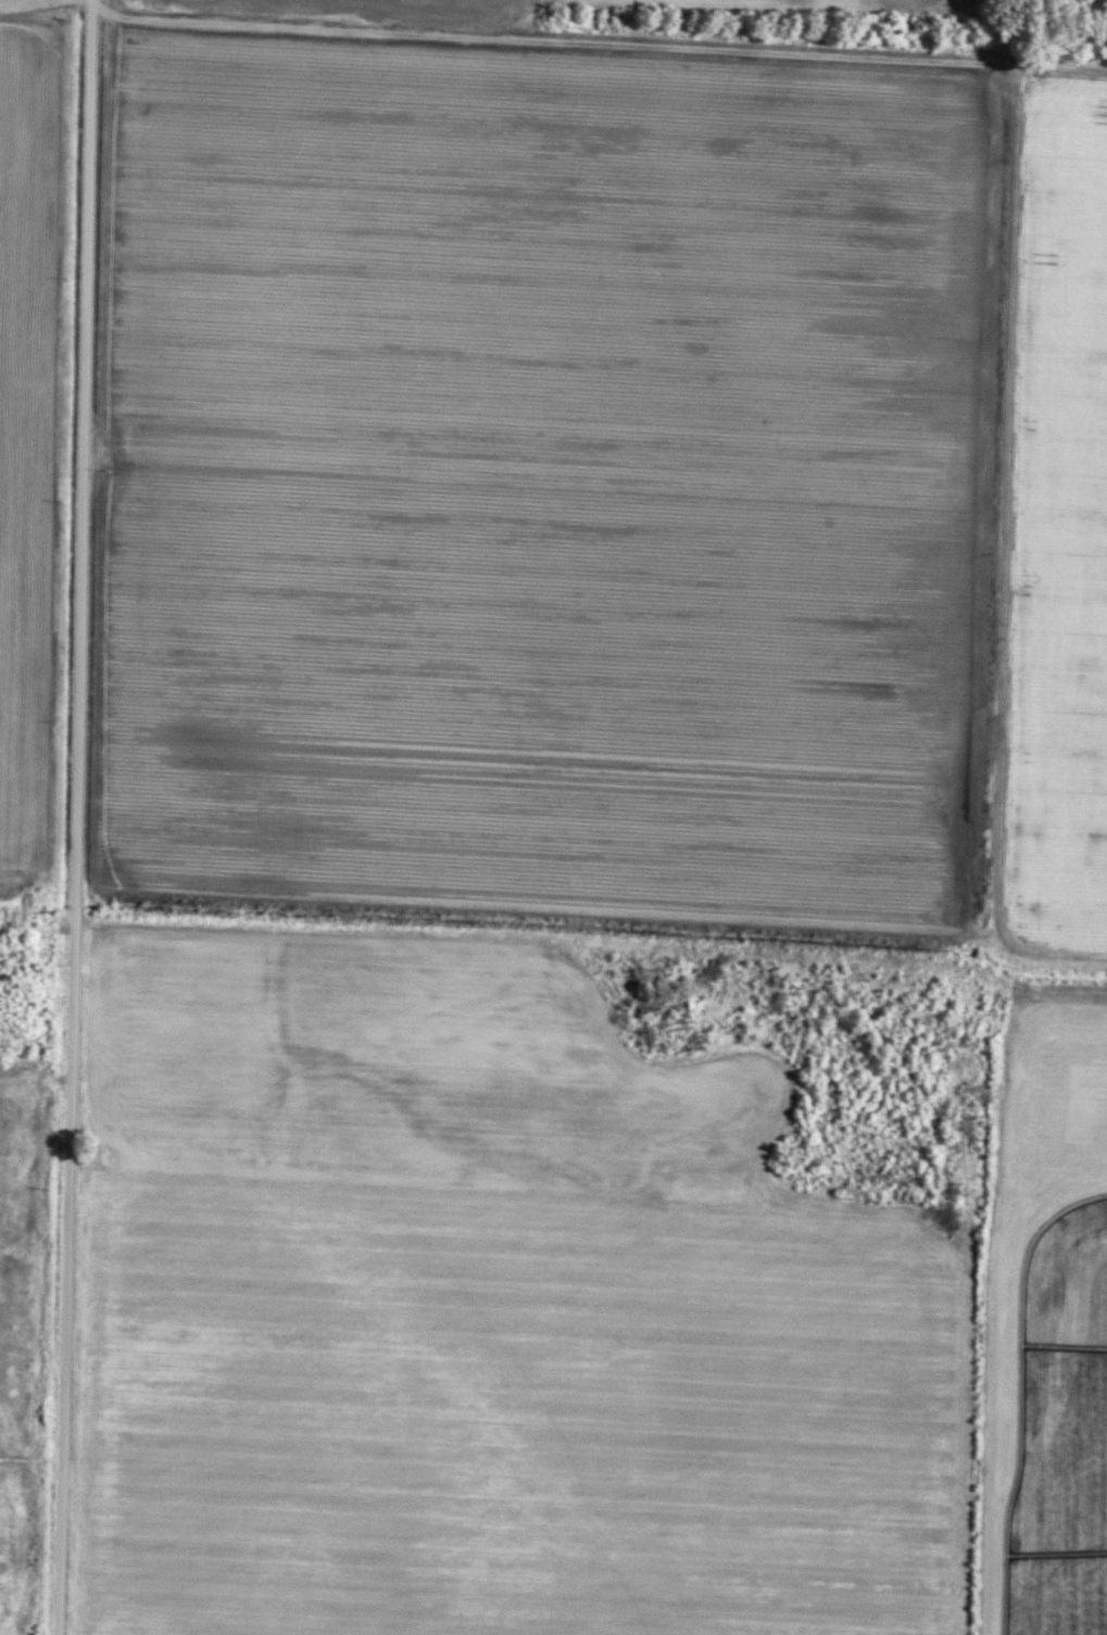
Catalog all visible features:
road: (76, 817)
road: (592, 942)

